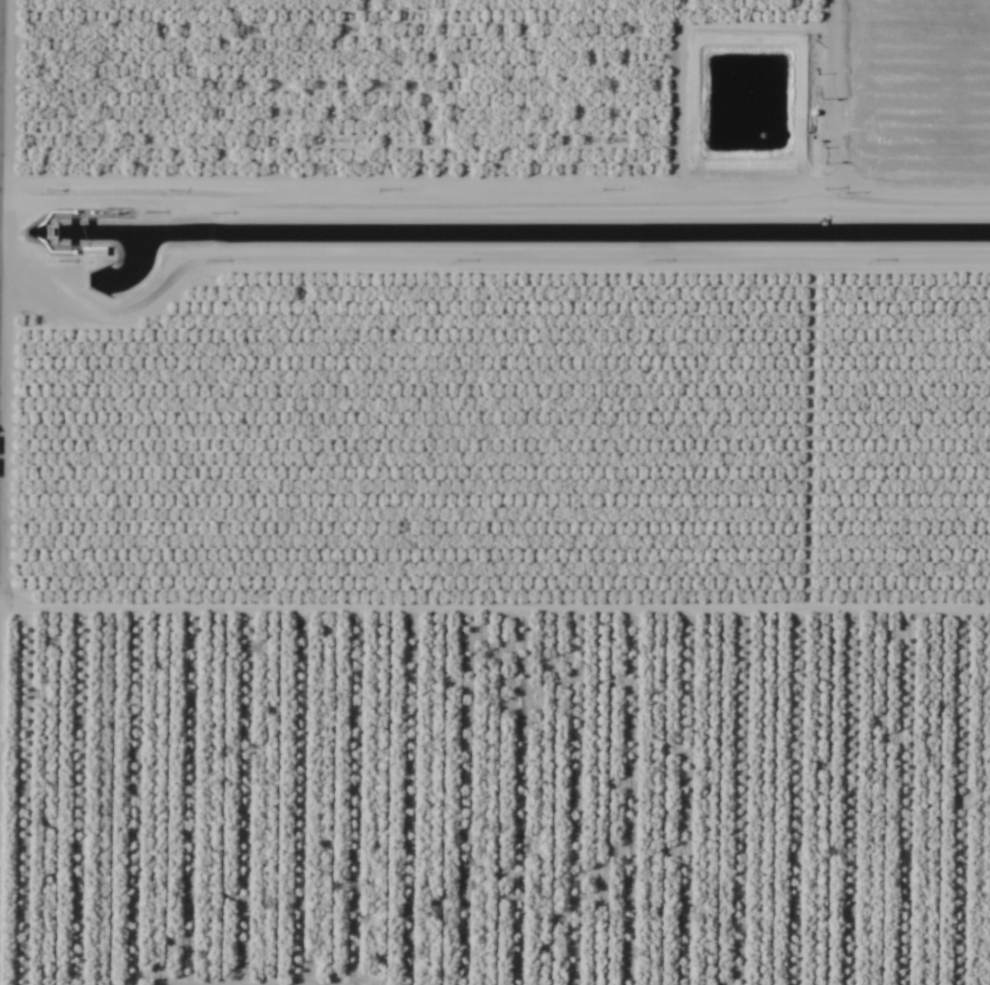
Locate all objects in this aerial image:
building: (100, 252)
crop: (495, 492)

